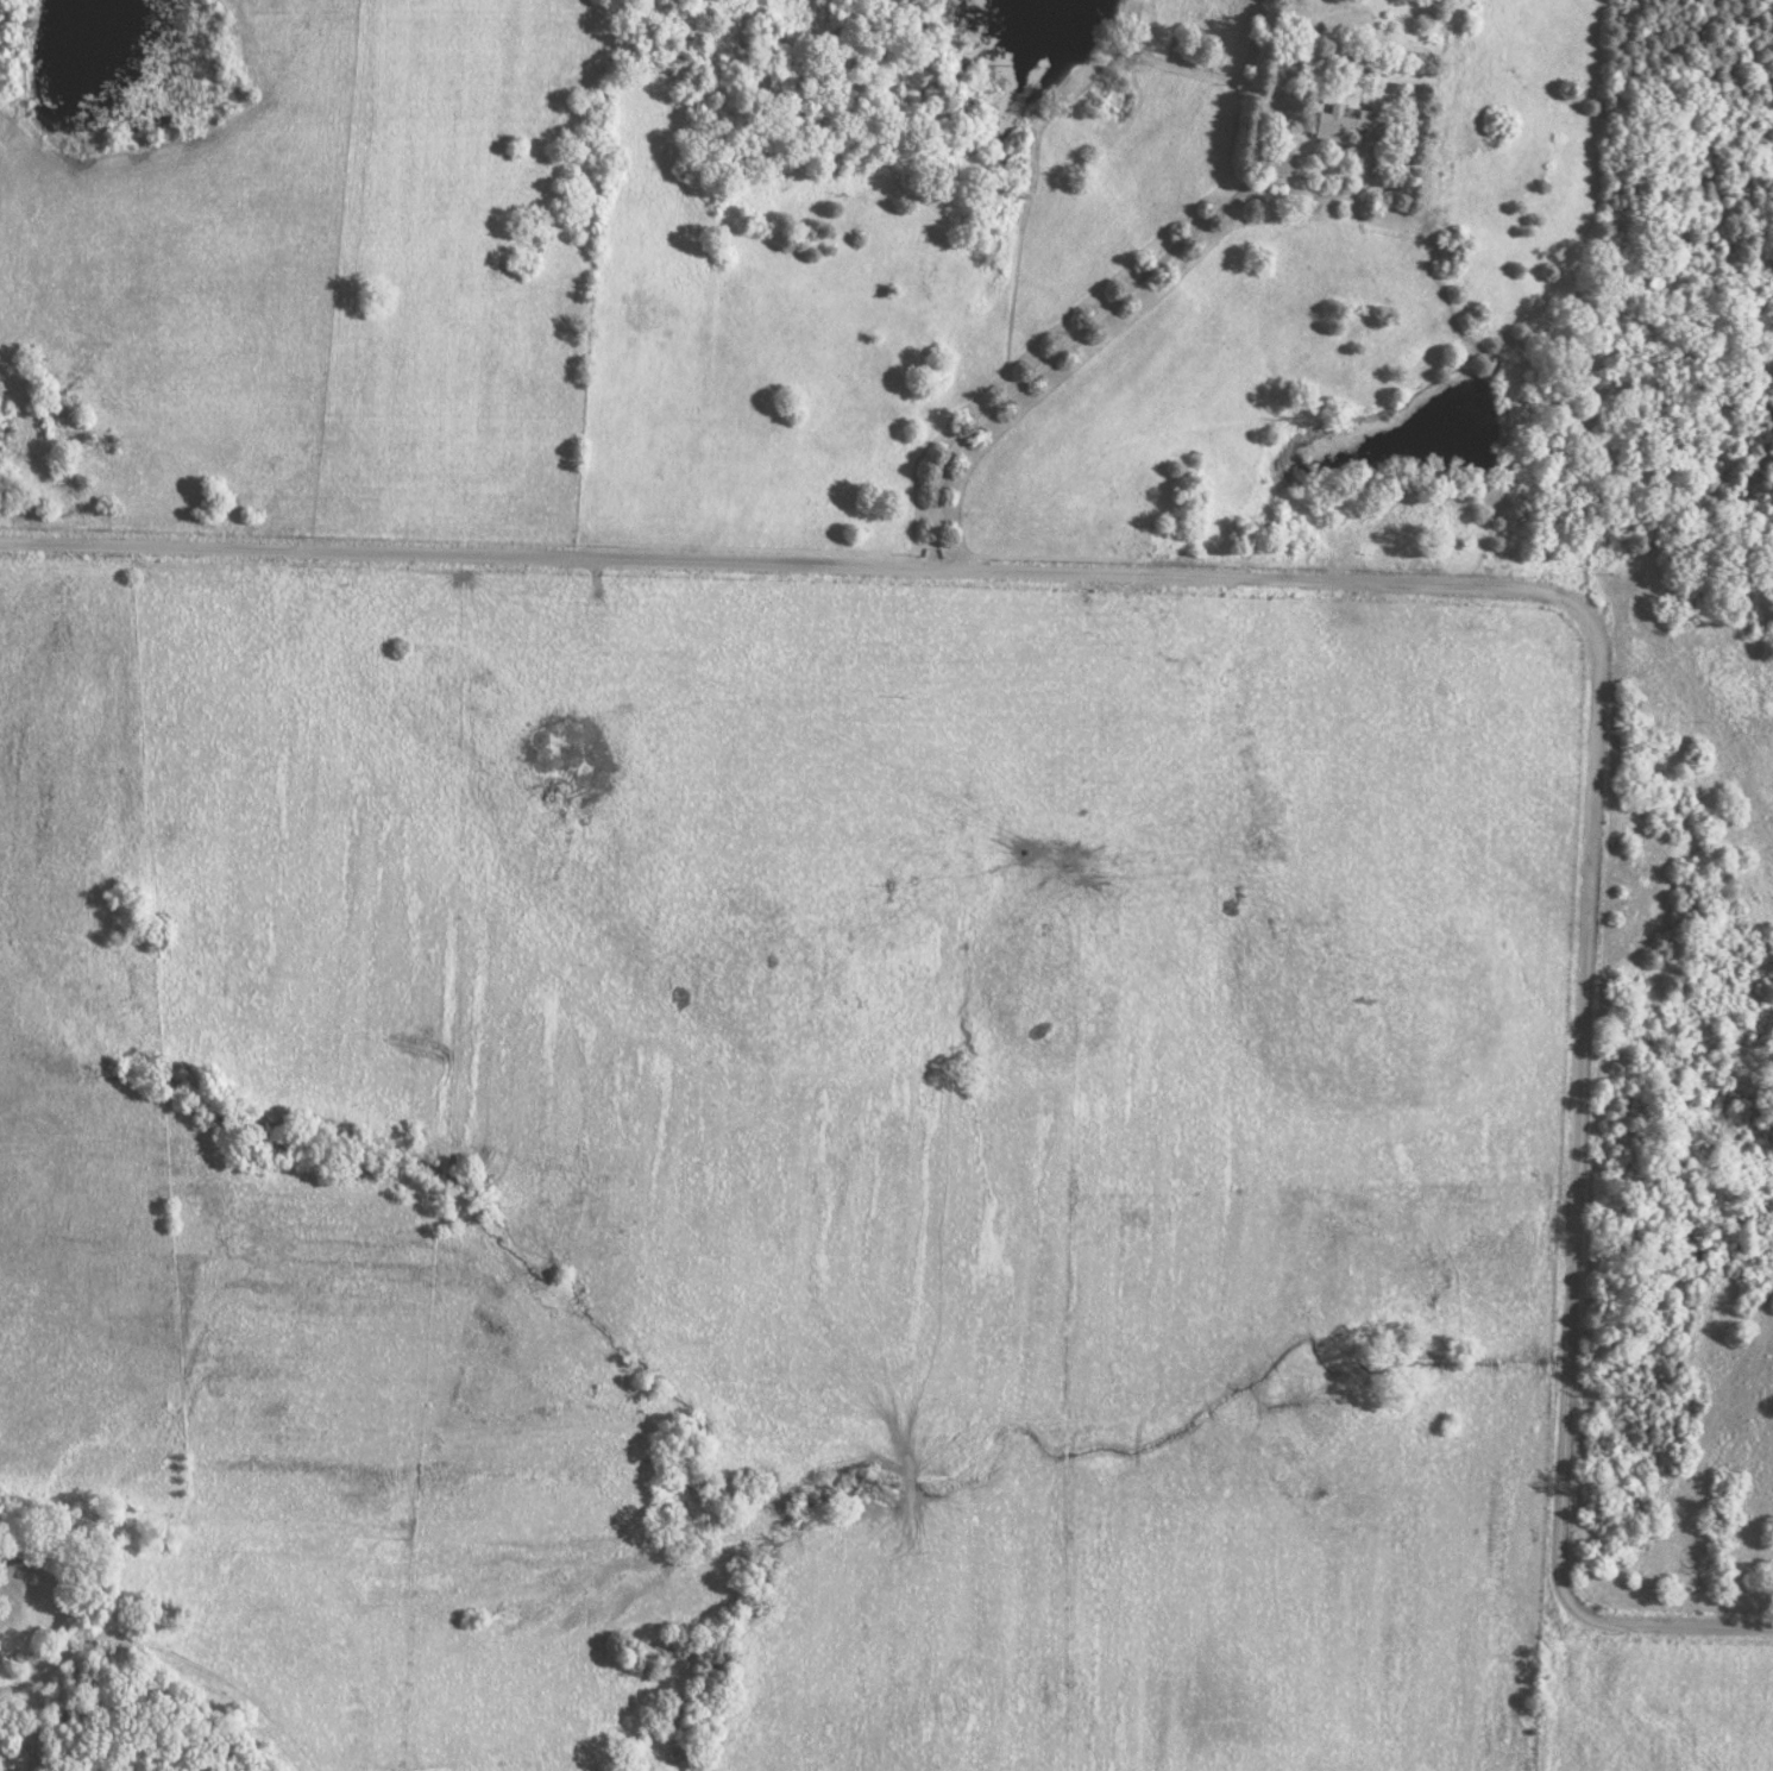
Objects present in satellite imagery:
road: (1319, 109)
building: (1341, 124)
road: (1061, 357)
road: (1398, 585)

